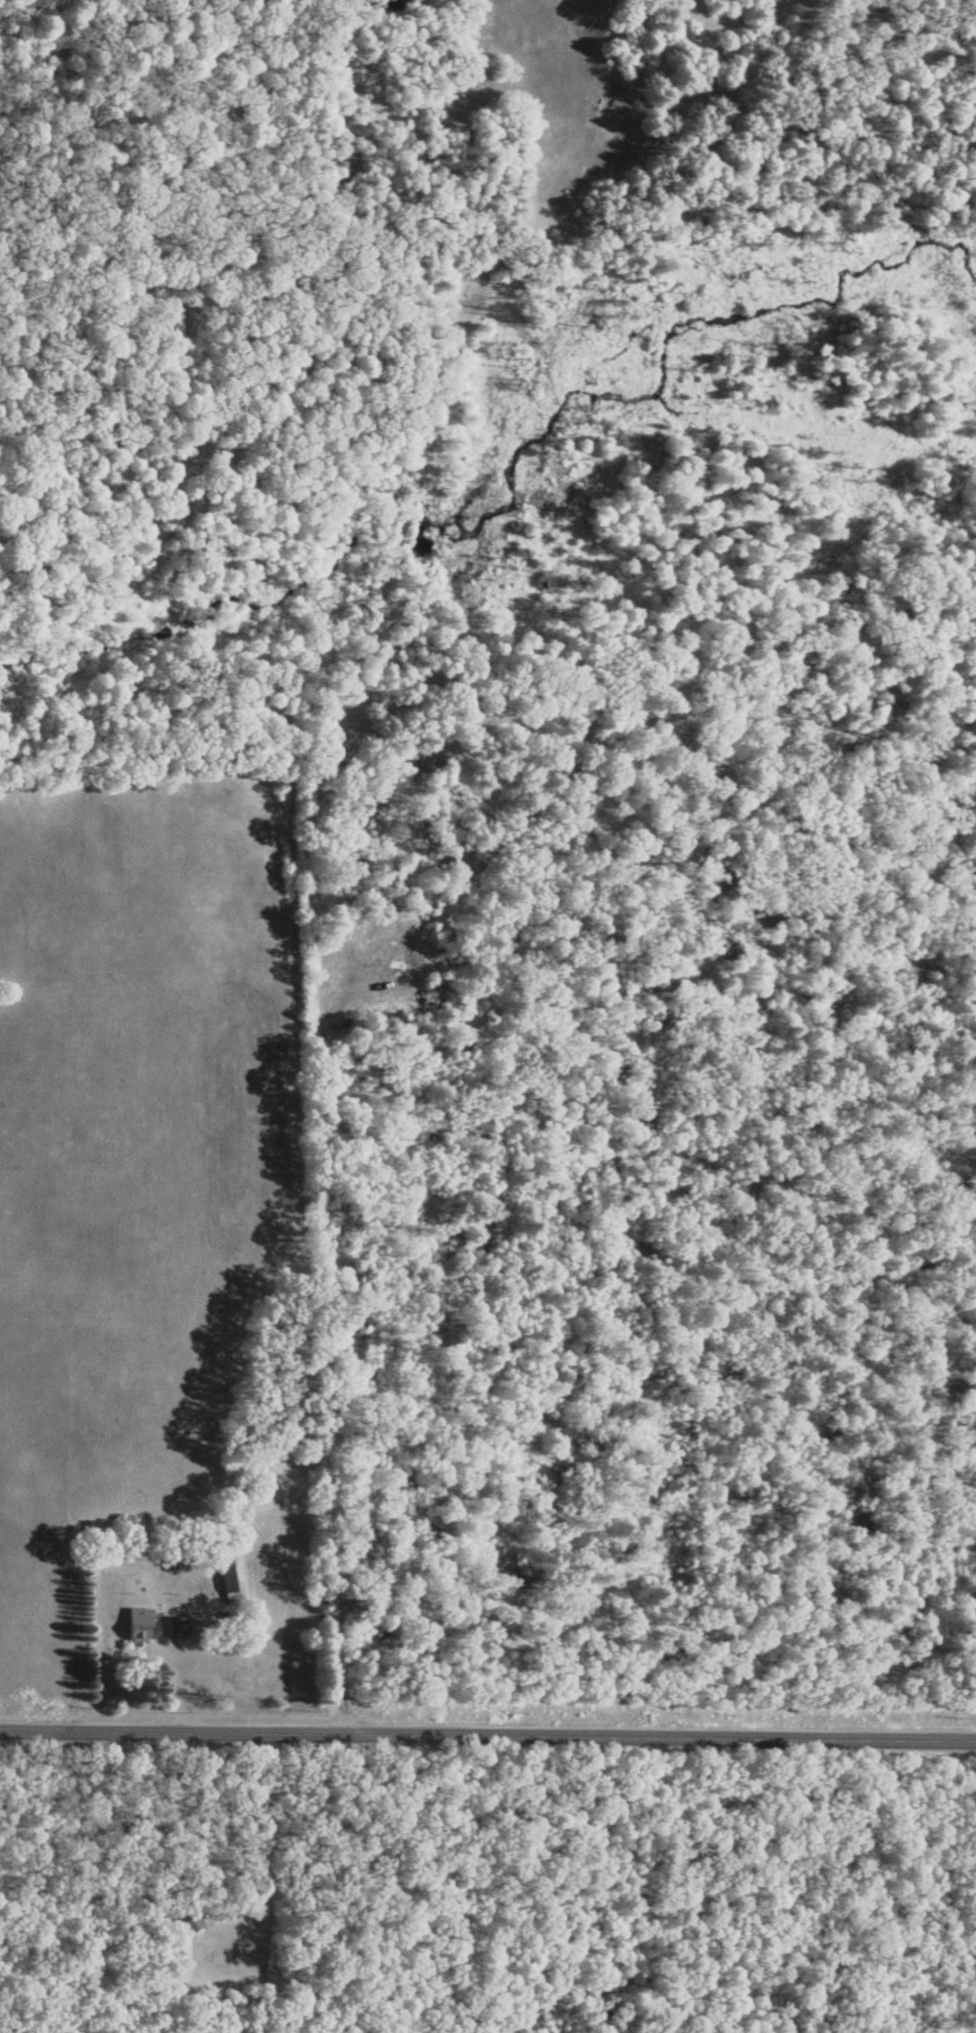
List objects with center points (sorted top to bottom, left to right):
building: (231, 1576)
building: (138, 1629)
road: (487, 1735)
road: (489, 1883)
building: (191, 1919)

